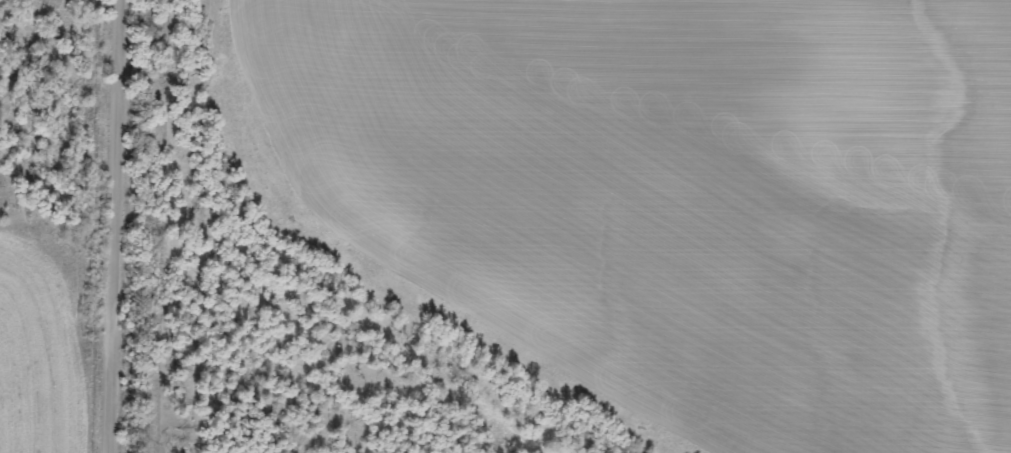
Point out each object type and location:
road: (115, 226)

